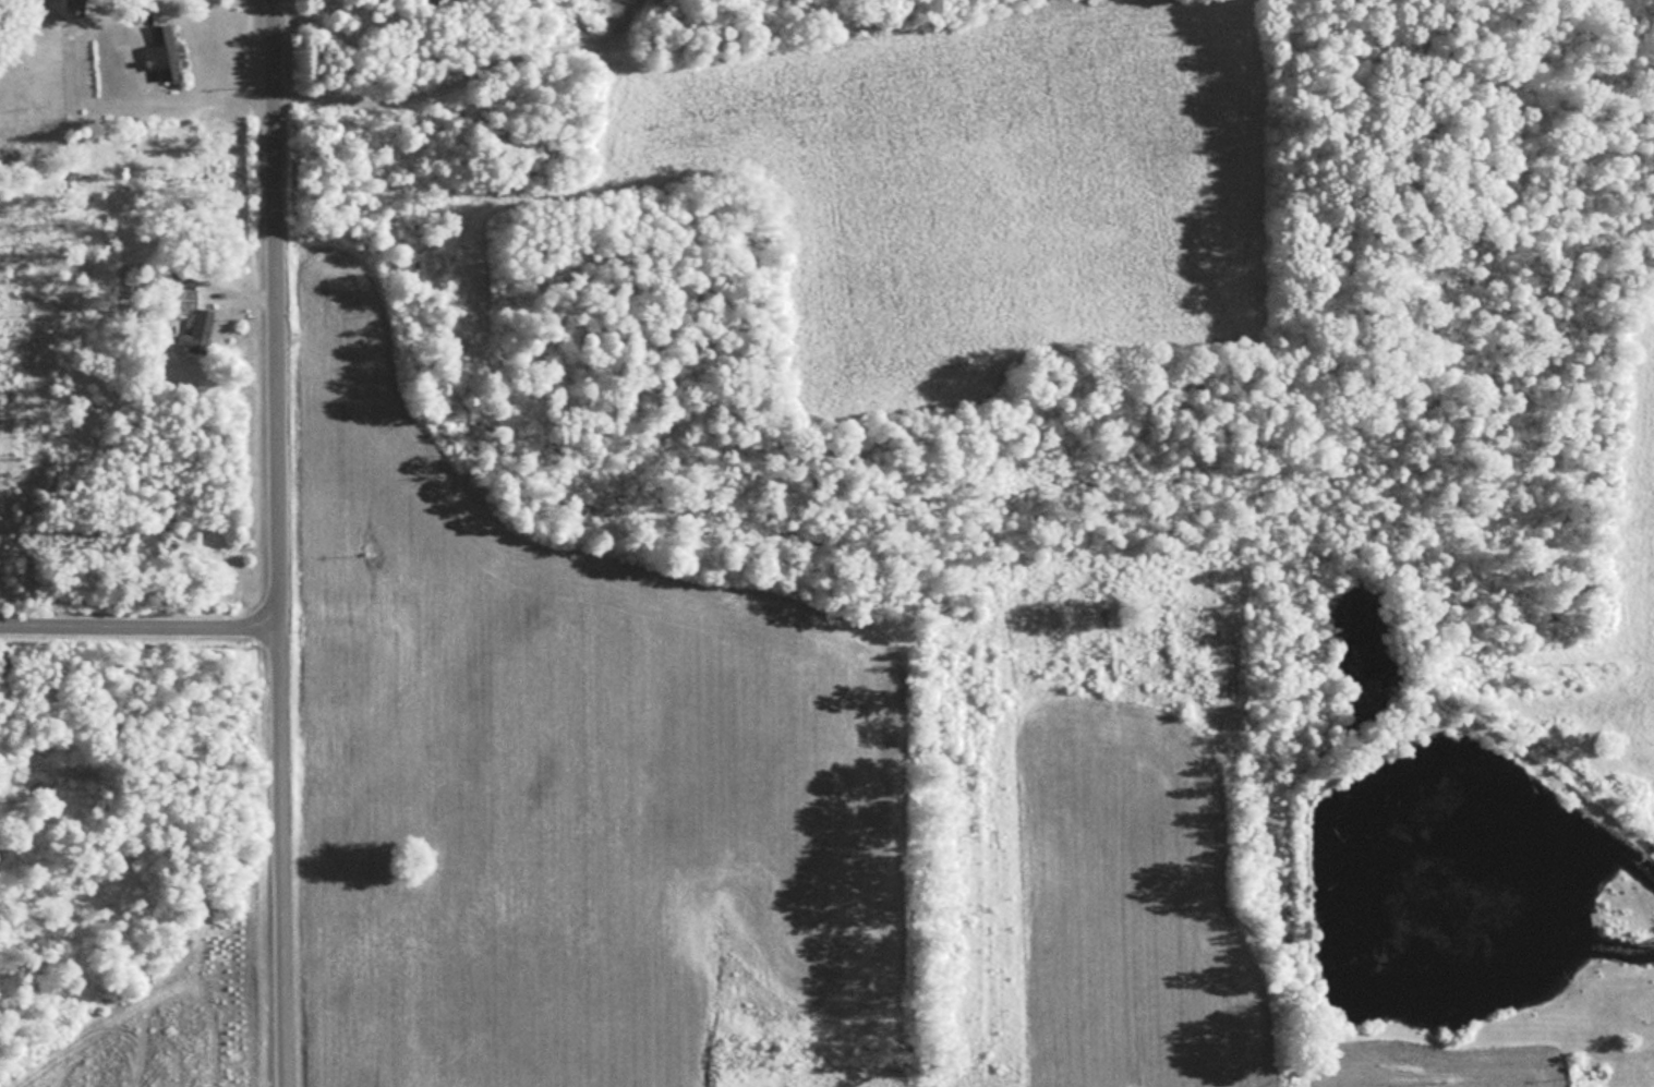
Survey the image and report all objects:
building: (73, 8)
building: (164, 52)
road: (279, 543)
road: (140, 636)

